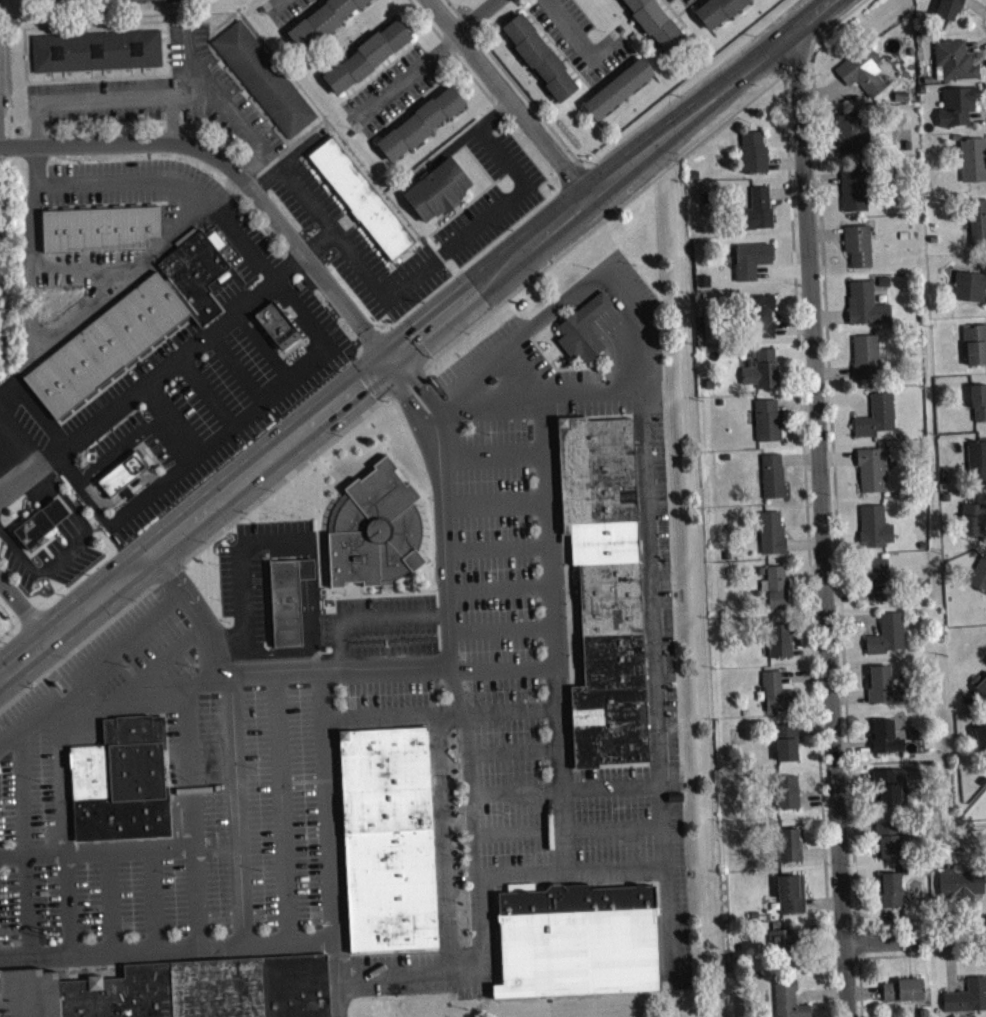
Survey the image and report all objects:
building: (232, 0)
building: (63, 1)
building: (153, 3)
building: (2, 5)
building: (718, 11)
building: (952, 12)
building: (322, 20)
building: (655, 22)
road: (571, 27)
building: (96, 49)
building: (366, 55)
building: (539, 56)
road: (432, 58)
building: (957, 66)
building: (866, 77)
building: (264, 78)
building: (618, 88)
road: (507, 101)
building: (960, 112)
building: (420, 123)
building: (853, 139)
building: (756, 159)
building: (974, 166)
road: (130, 179)
road: (520, 181)
building: (438, 189)
parking lot: (493, 193)
building: (856, 196)
building: (360, 197)
road: (309, 201)
building: (759, 216)
building: (979, 227)
building: (99, 228)
parking lot: (354, 246)
building: (860, 251)
building: (753, 266)
road: (120, 271)
building: (195, 273)
road: (369, 276)
road: (495, 276)
building: (971, 293)
road: (569, 296)
road: (581, 297)
road: (591, 309)
building: (868, 311)
building: (764, 322)
building: (277, 325)
building: (582, 329)
building: (105, 345)
road: (621, 350)
building: (976, 351)
building: (868, 363)
road: (523, 373)
parking lot: (229, 374)
road: (151, 375)
building: (763, 375)
parking lot: (528, 377)
building: (979, 408)
building: (879, 422)
building: (770, 426)
road: (495, 462)
building: (978, 466)
building: (122, 473)
building: (874, 476)
building: (775, 482)
road: (447, 486)
road: (498, 505)
building: (40, 522)
road: (824, 525)
building: (973, 525)
building: (376, 528)
building: (877, 533)
building: (774, 538)
road: (500, 549)
parking lot: (251, 574)
building: (980, 582)
building: (881, 586)
road: (501, 587)
building: (603, 590)
building: (780, 593)
building: (284, 603)
road: (25, 611)
road: (200, 616)
road: (366, 617)
road: (76, 618)
parking lot: (429, 622)
road: (654, 622)
road: (503, 629)
road: (554, 638)
building: (889, 641)
building: (782, 646)
road: (101, 665)
road: (164, 665)
road: (439, 671)
road: (275, 679)
building: (981, 690)
building: (885, 692)
road: (136, 699)
building: (778, 699)
road: (442, 716)
building: (886, 742)
road: (10, 743)
building: (981, 745)
building: (789, 748)
road: (515, 754)
building: (121, 780)
road: (66, 783)
road: (569, 790)
building: (893, 793)
road: (22, 796)
building: (790, 798)
road: (331, 807)
road: (284, 811)
road: (240, 814)
road: (193, 819)
road: (570, 833)
building: (388, 842)
building: (890, 846)
road: (131, 851)
building: (792, 851)
road: (46, 855)
road: (12, 857)
building: (962, 889)
building: (893, 897)
road: (154, 901)
building: (794, 901)
road: (111, 902)
road: (70, 905)
road: (27, 907)
road: (293, 942)
building: (576, 943)
building: (784, 946)
road: (916, 947)
road: (159, 950)
road: (50, 957)
road: (14, 959)
road: (91, 966)
road: (340, 978)
building: (179, 990)
building: (906, 996)
road: (92, 997)
building: (790, 1003)
building: (968, 1003)

